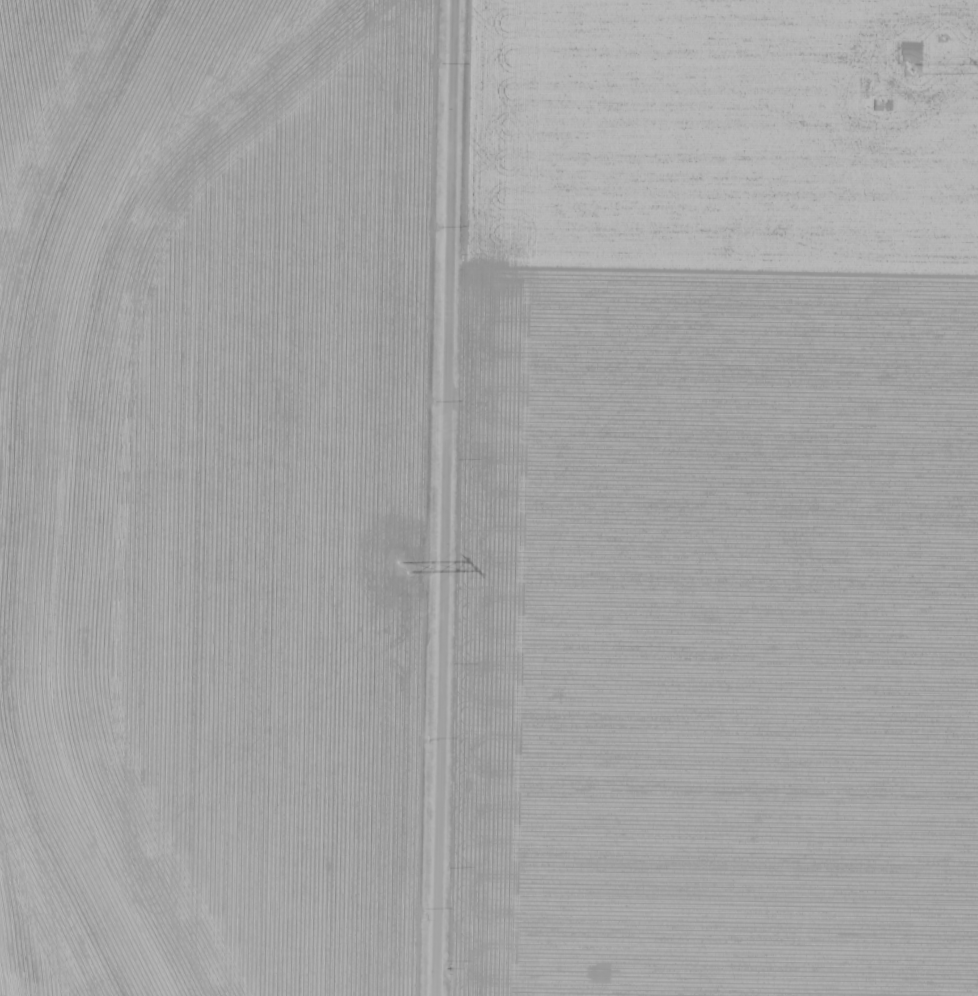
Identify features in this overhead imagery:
power tower: (911, 69)
road: (439, 498)
power tower: (405, 566)

